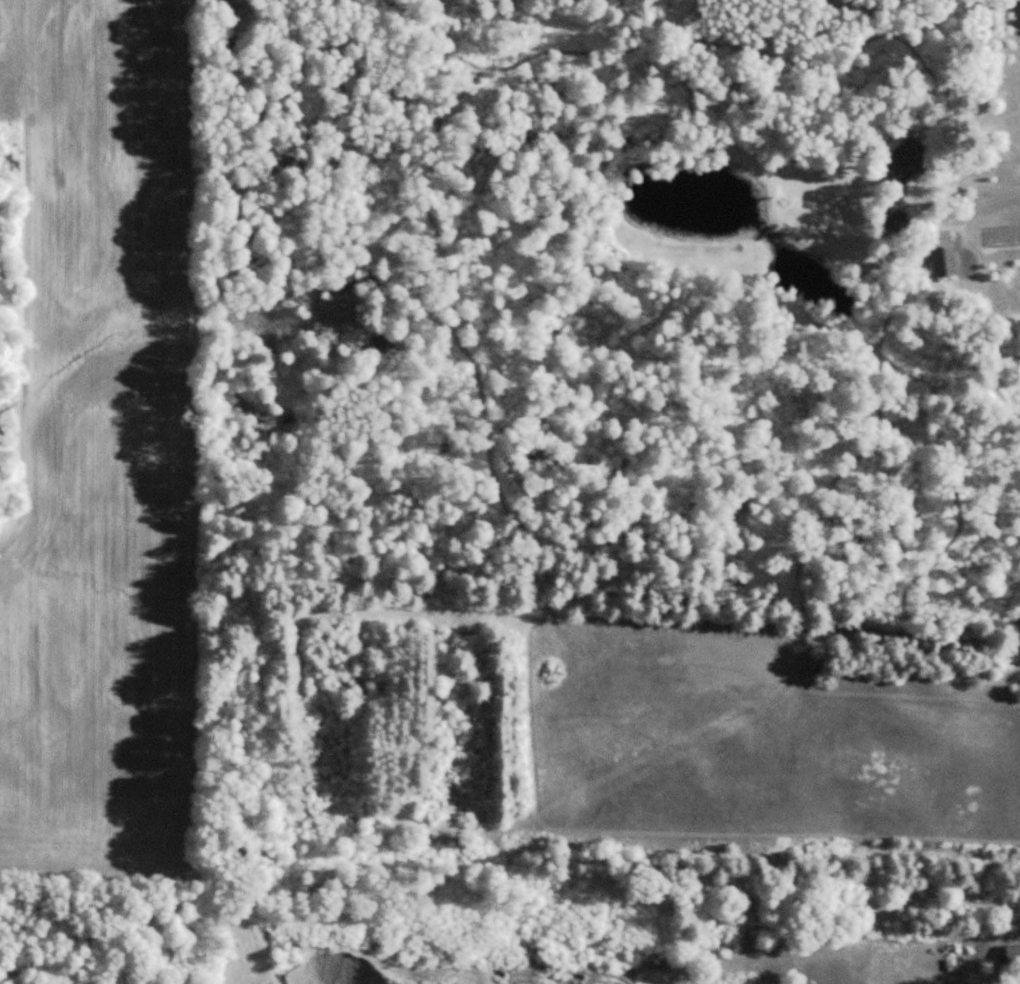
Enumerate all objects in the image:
building: (907, 159)
building: (943, 262)
building: (1012, 955)

